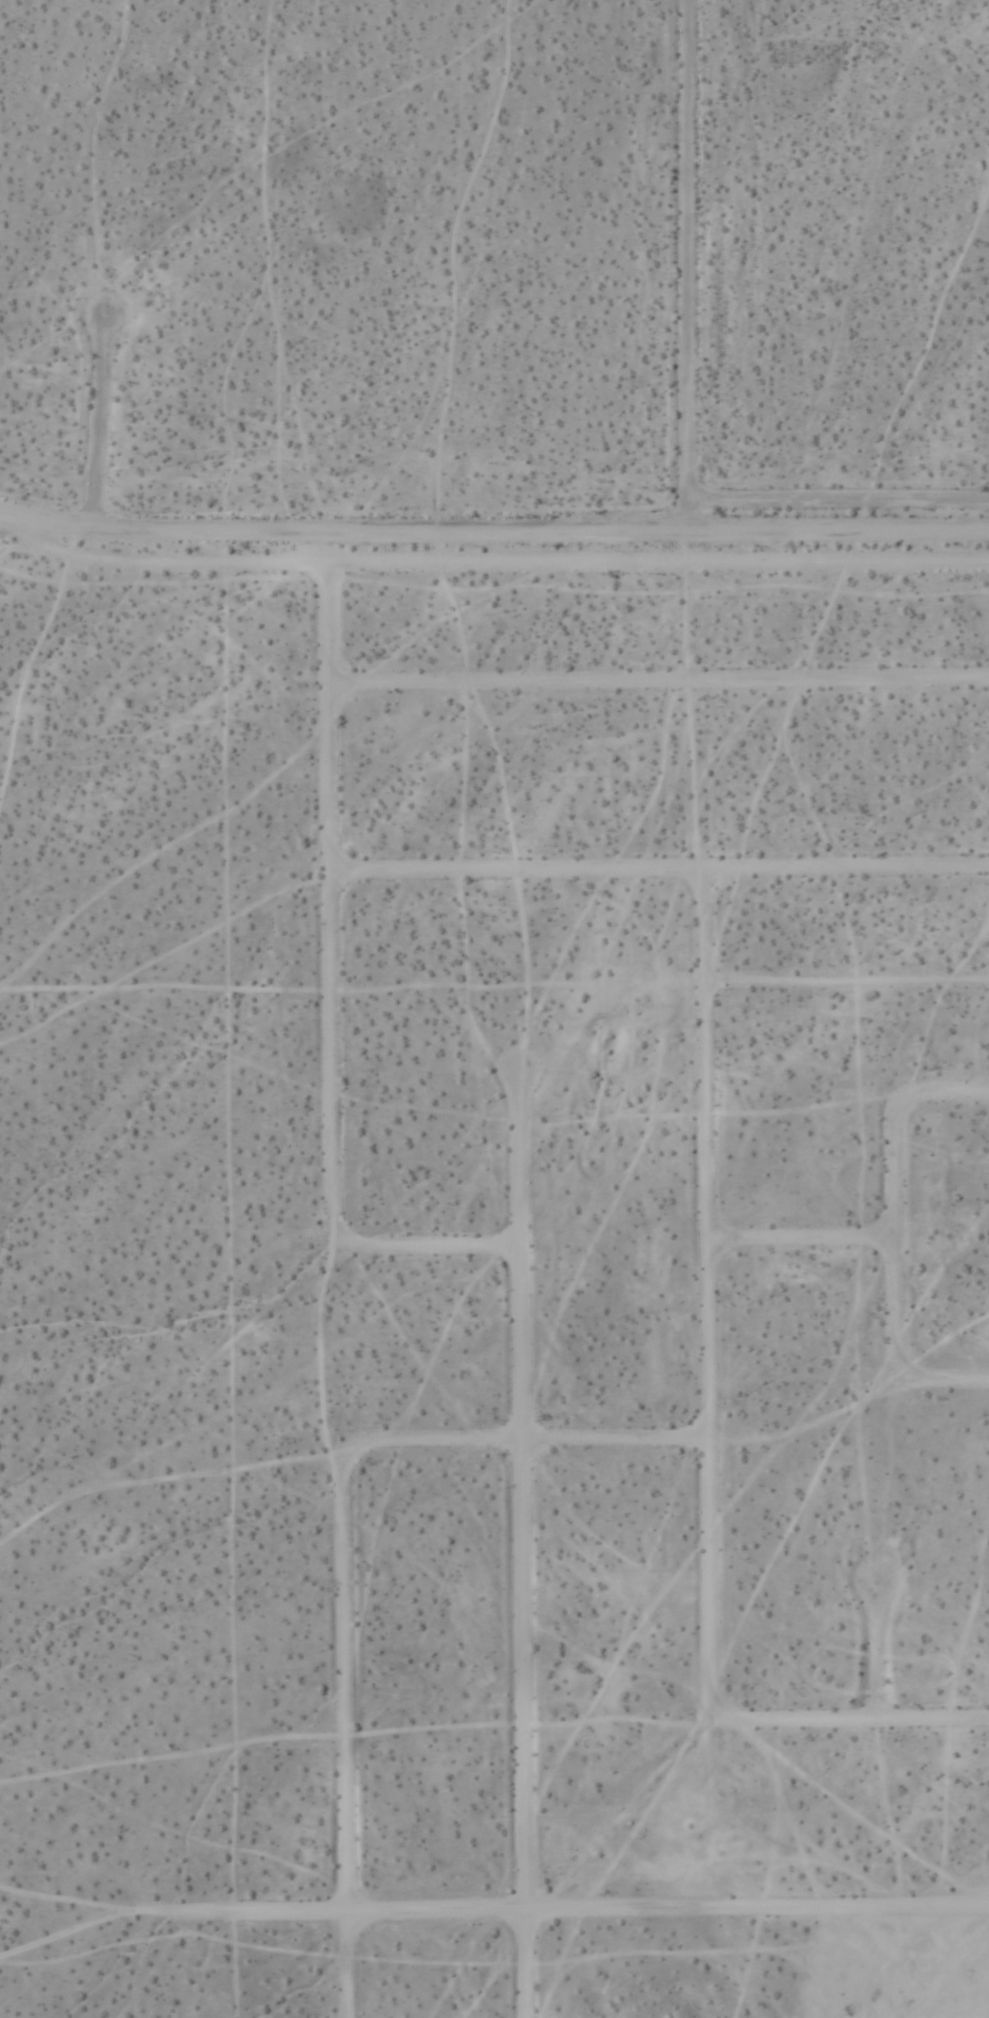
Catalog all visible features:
road: (690, 281)
road: (100, 421)
road: (494, 524)
road: (494, 563)
road: (660, 687)
road: (661, 875)
road: (892, 1241)
road: (800, 1244)
road: (426, 1252)
road: (326, 1274)
crop: (637, 1288)
road: (709, 1303)
road: (515, 1445)
road: (522, 1546)
road: (873, 1660)
road: (857, 1727)
road: (616, 1915)

